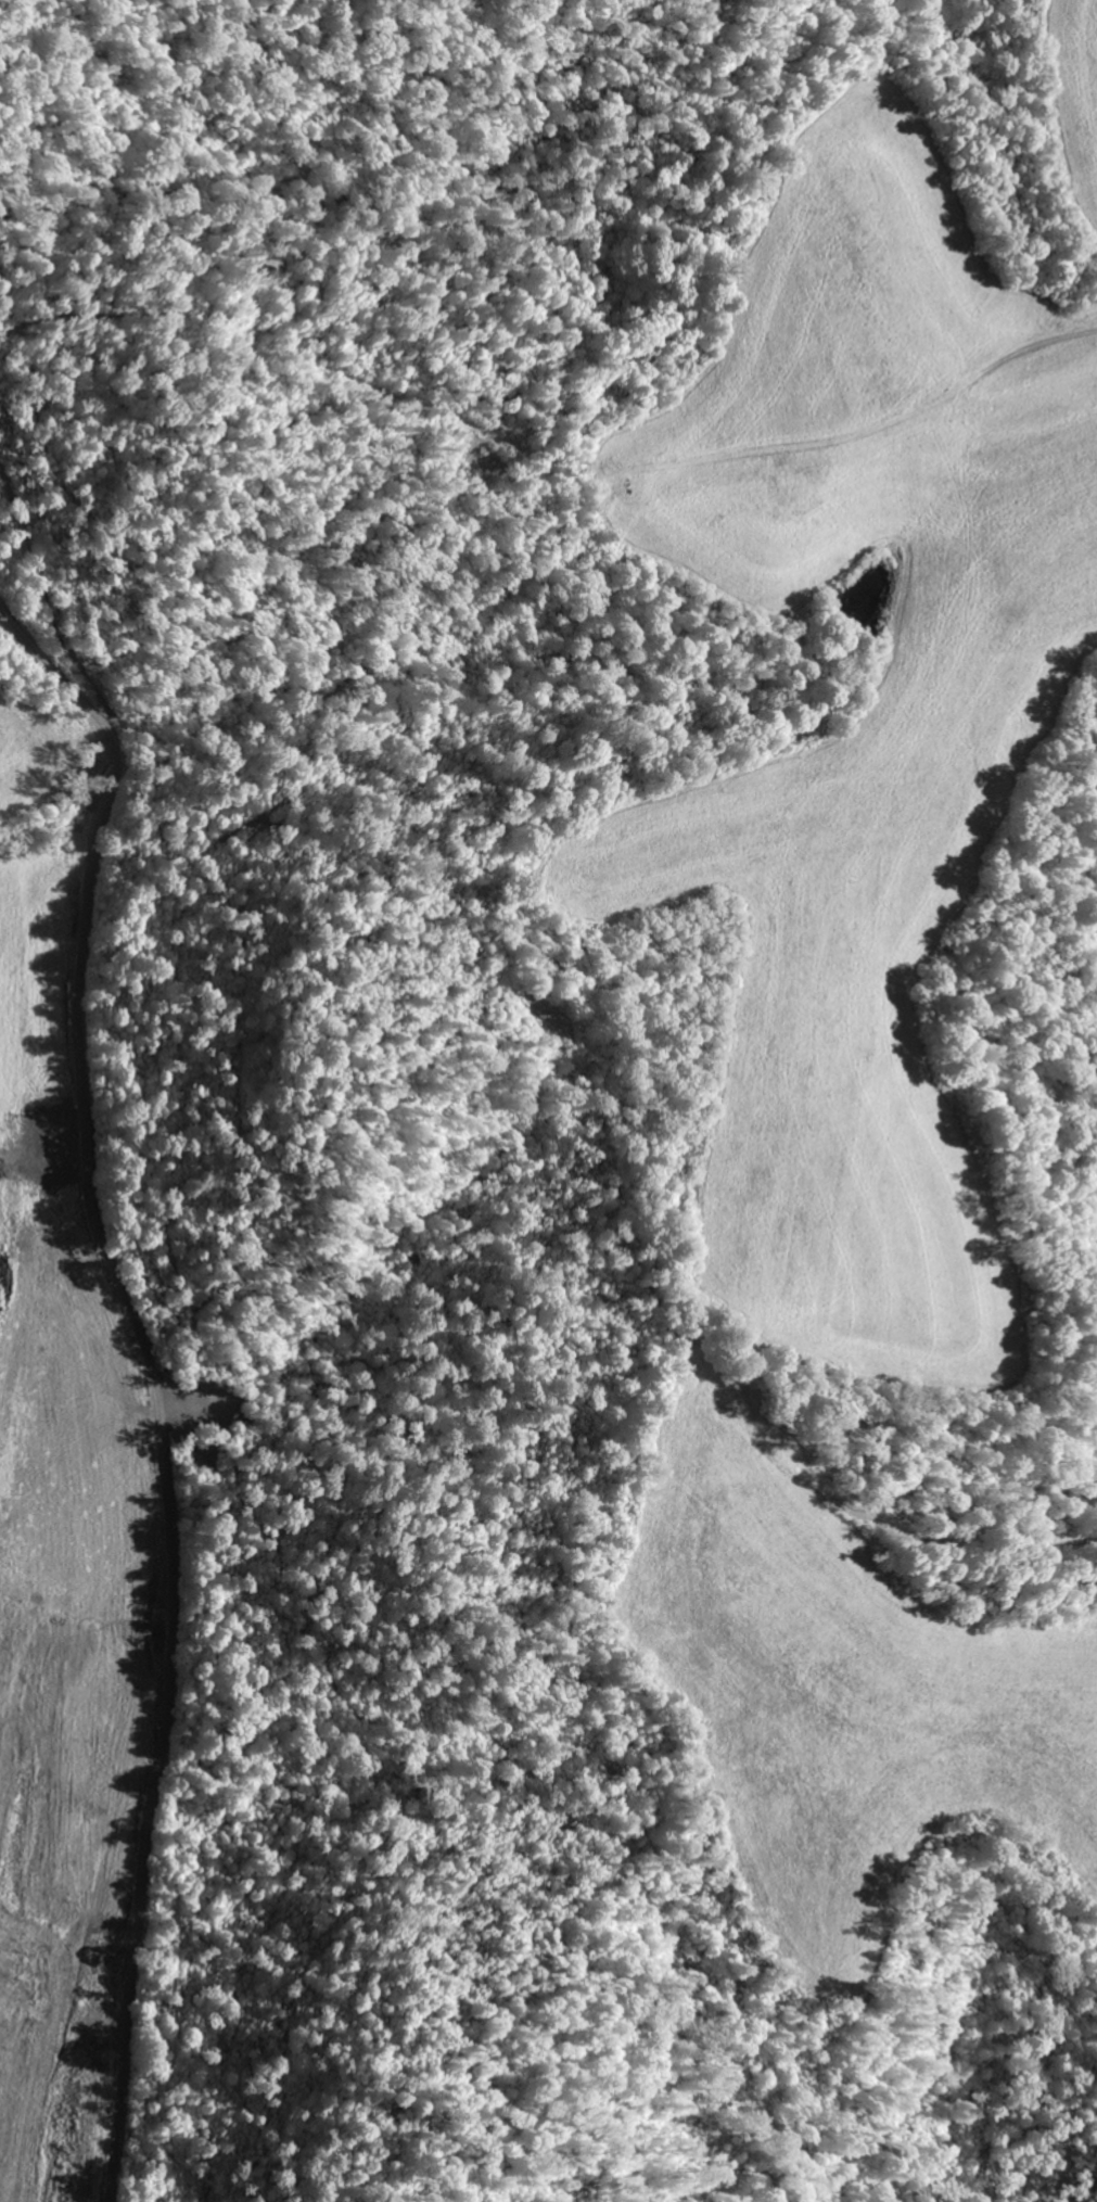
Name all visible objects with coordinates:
road: (156, 1375)

